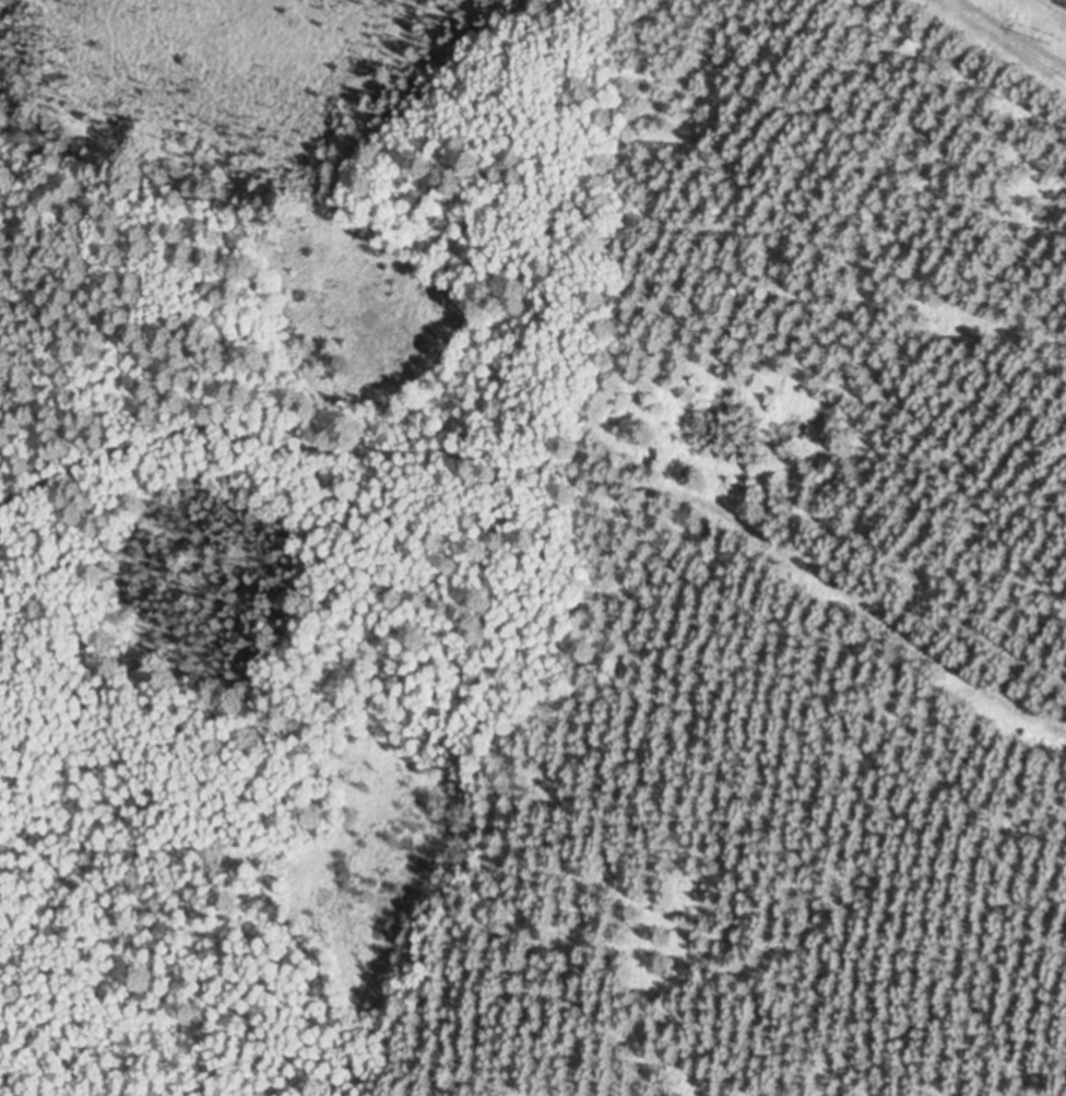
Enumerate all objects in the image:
road: (1054, 4)
power tower: (1052, 32)

